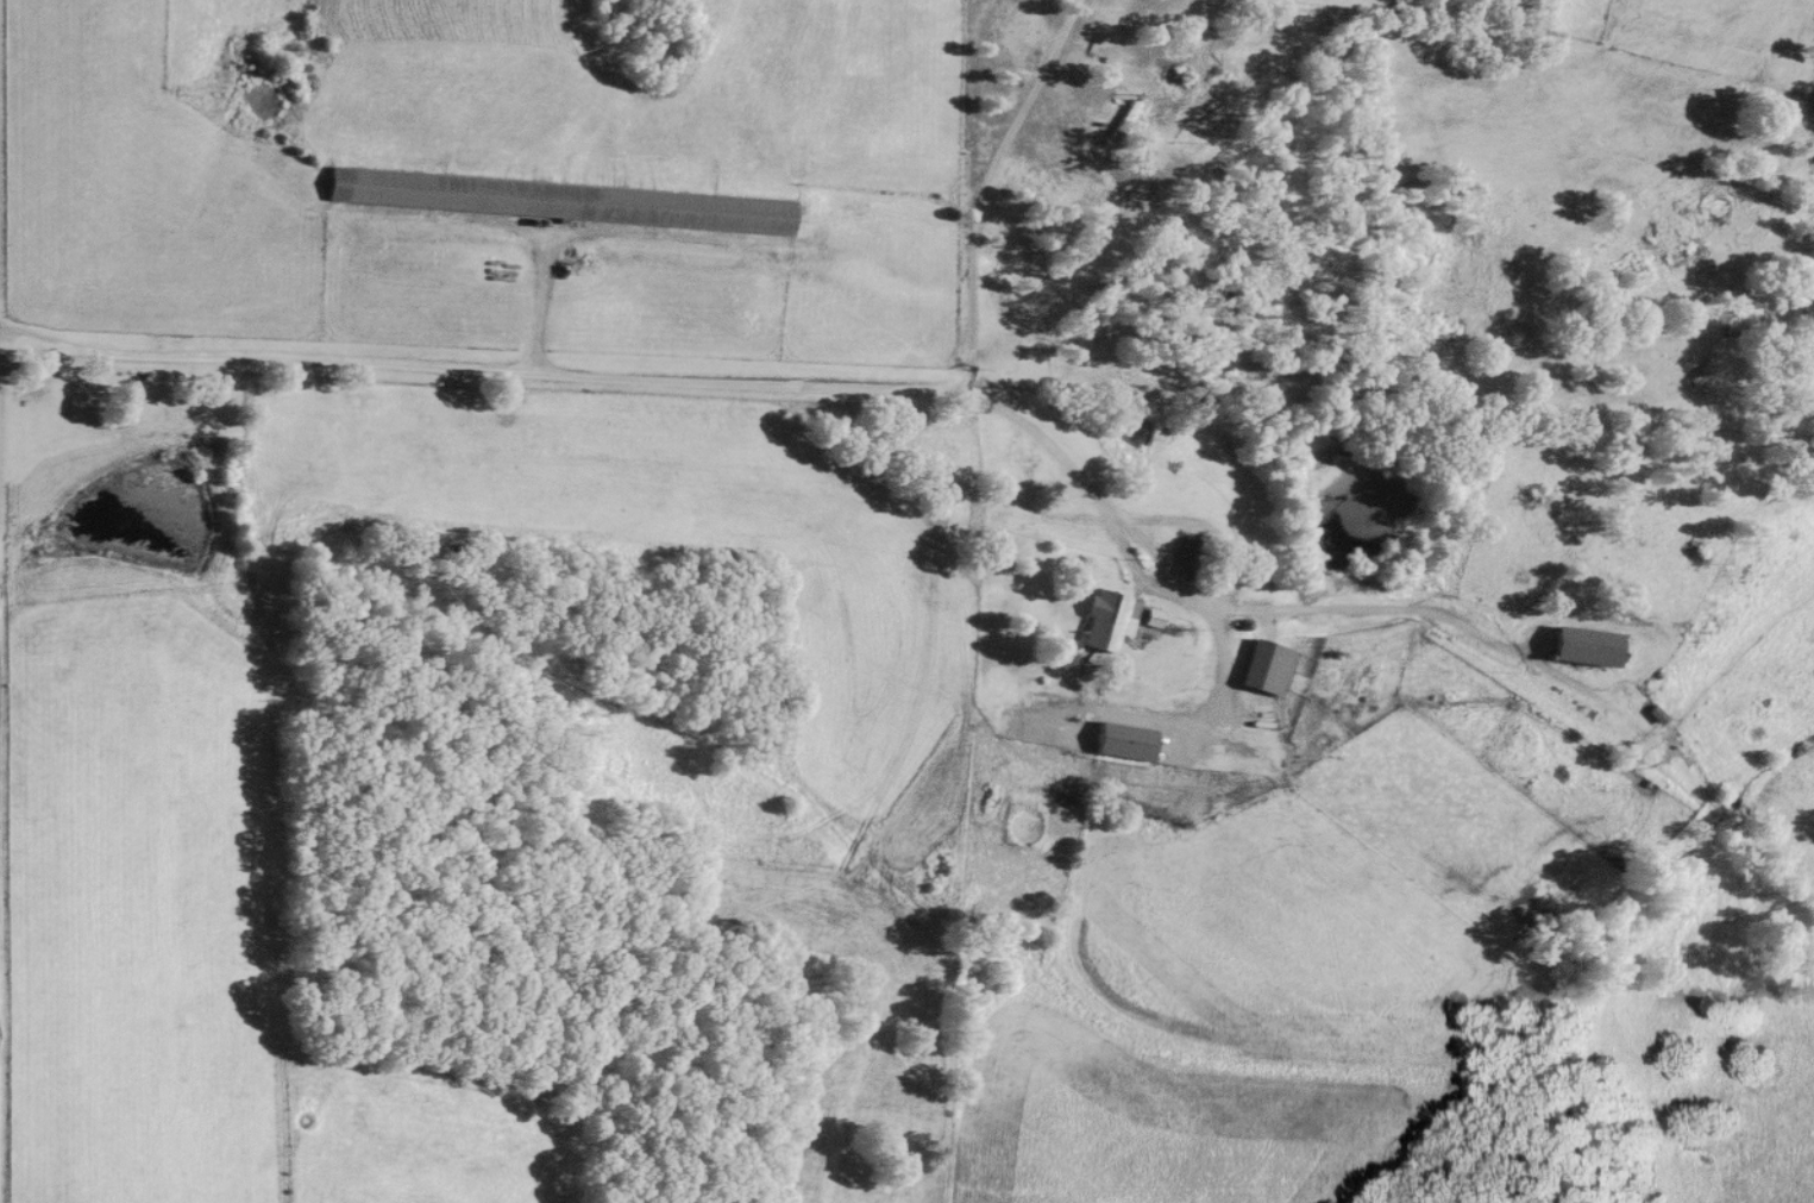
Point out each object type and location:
building: (560, 202)
road: (541, 303)
road: (683, 381)
building: (1198, 558)
road: (1176, 583)
building: (1151, 620)
building: (1106, 621)
building: (1583, 649)
building: (1263, 669)
building: (1073, 733)

